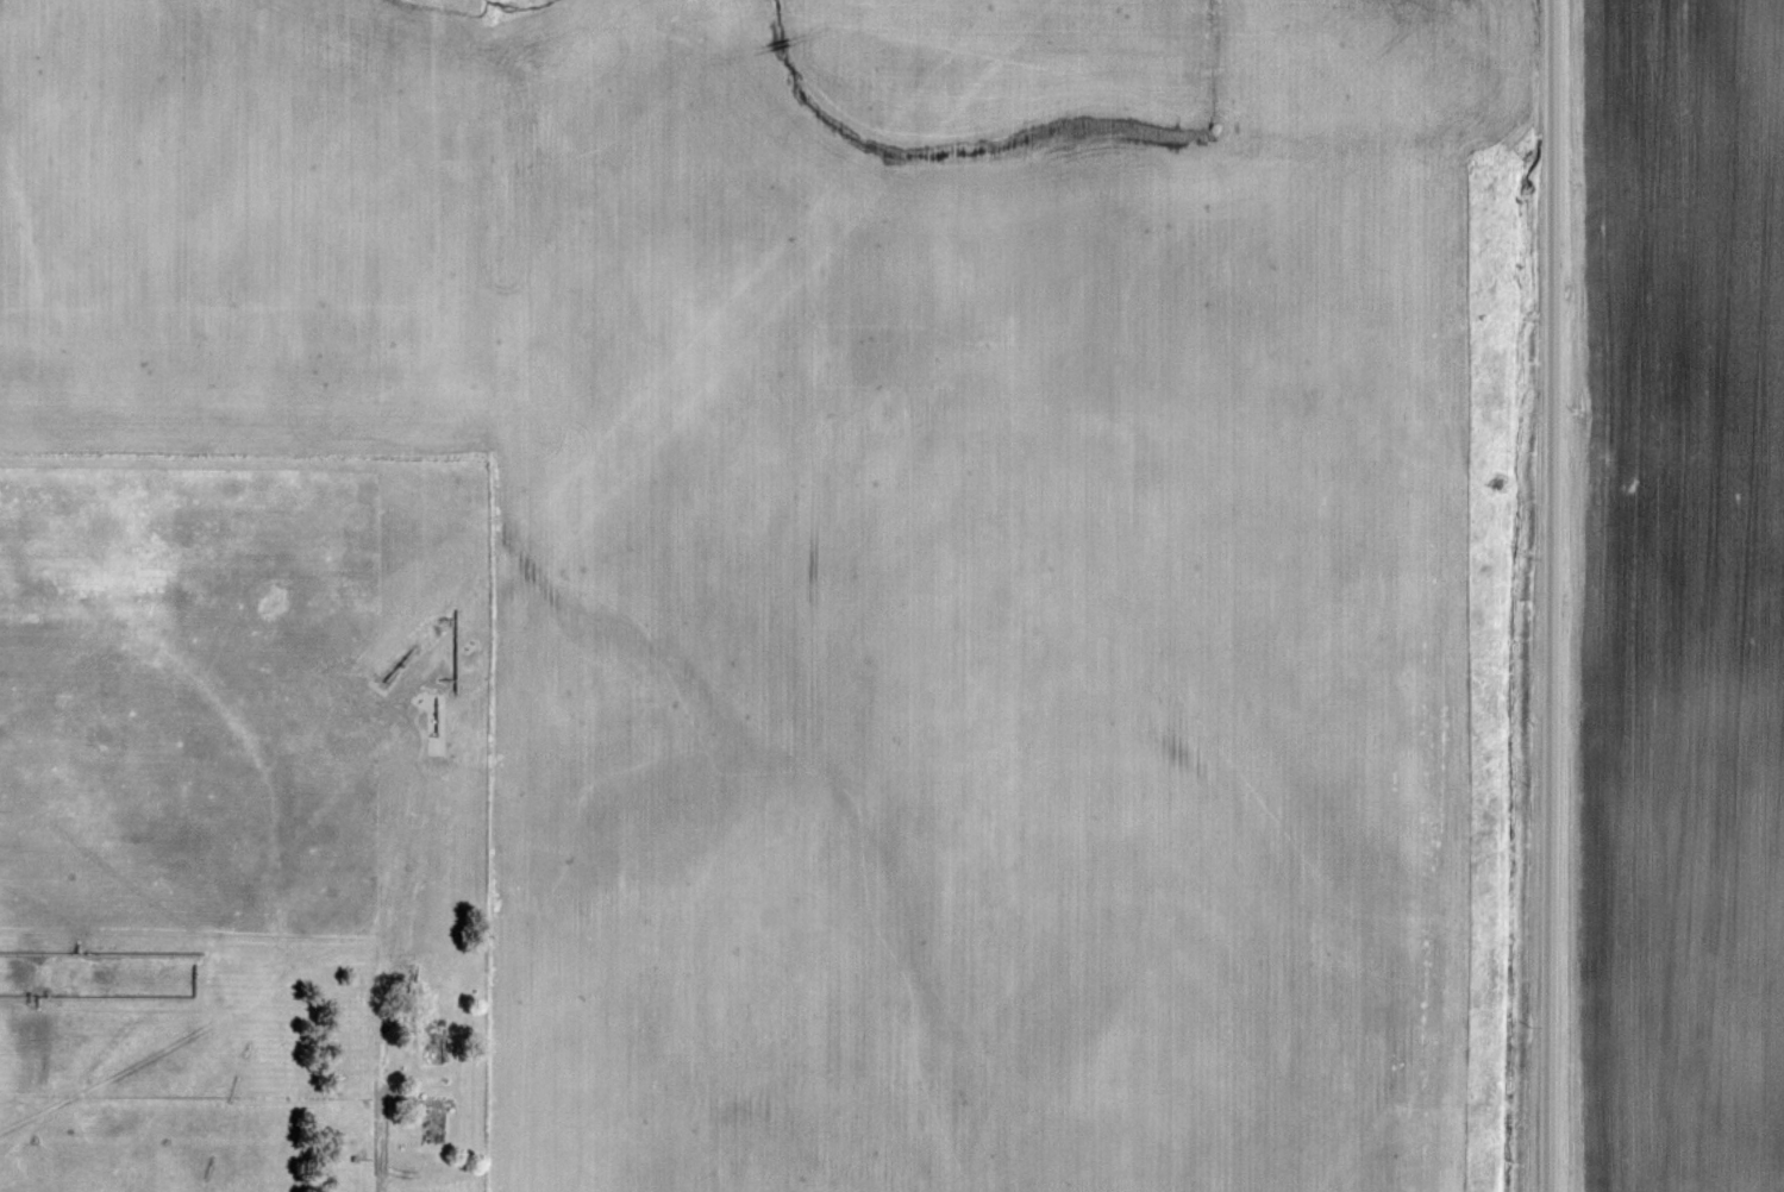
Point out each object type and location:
road: (1548, 596)
road: (380, 1098)

